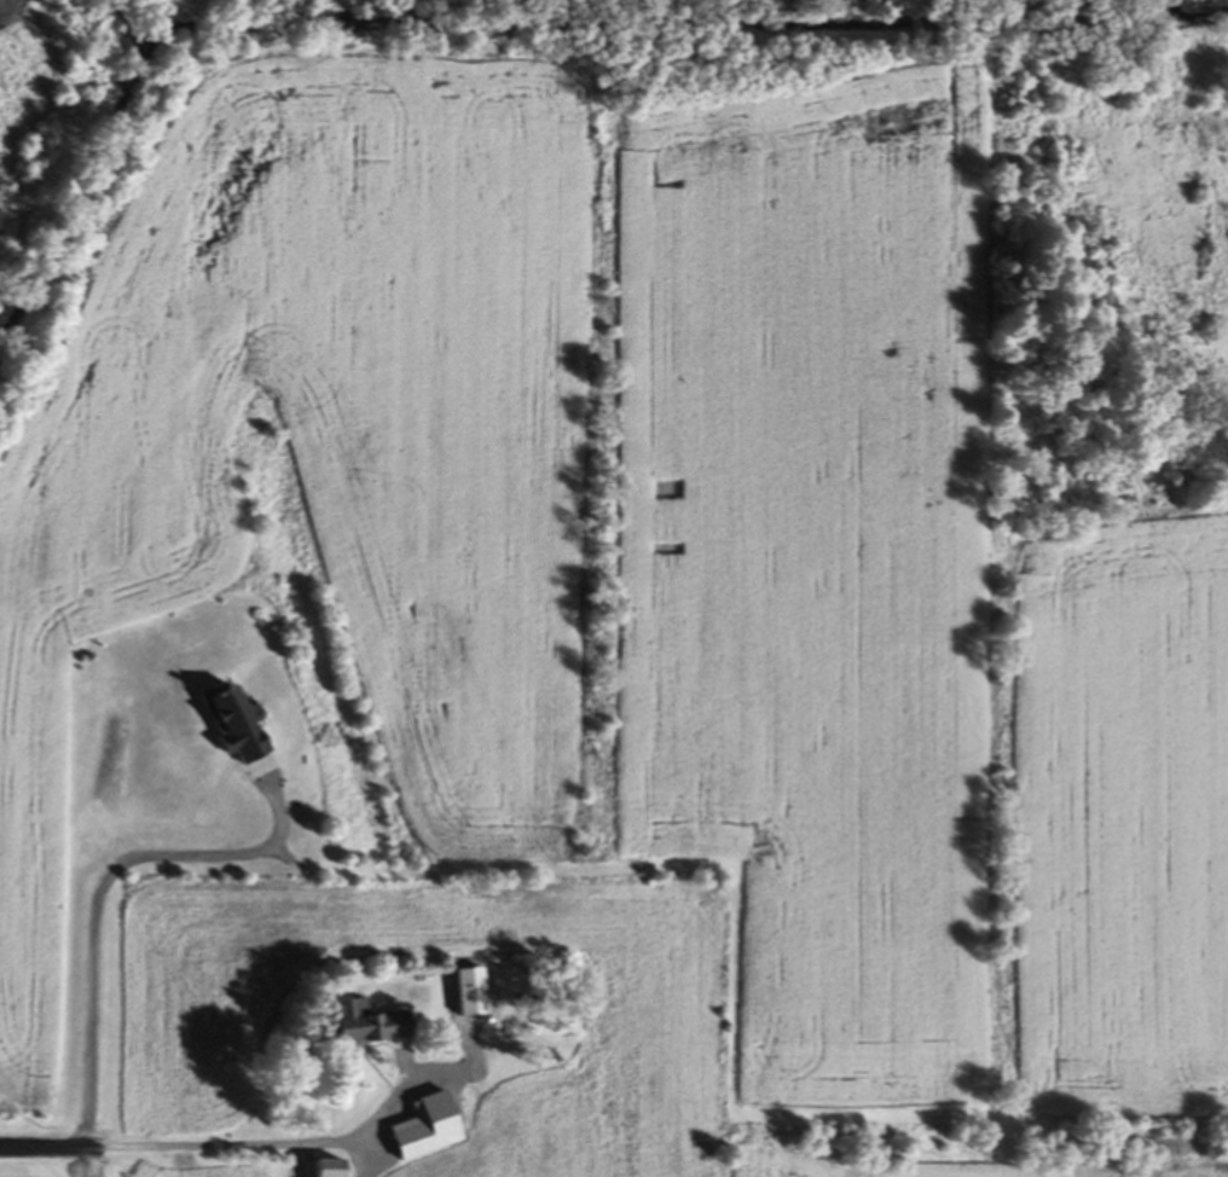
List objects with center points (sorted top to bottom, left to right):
building: (237, 725)
road: (100, 898)
building: (473, 995)
building: (371, 1028)
building: (445, 1094)
road: (179, 1147)
building: (332, 1175)

